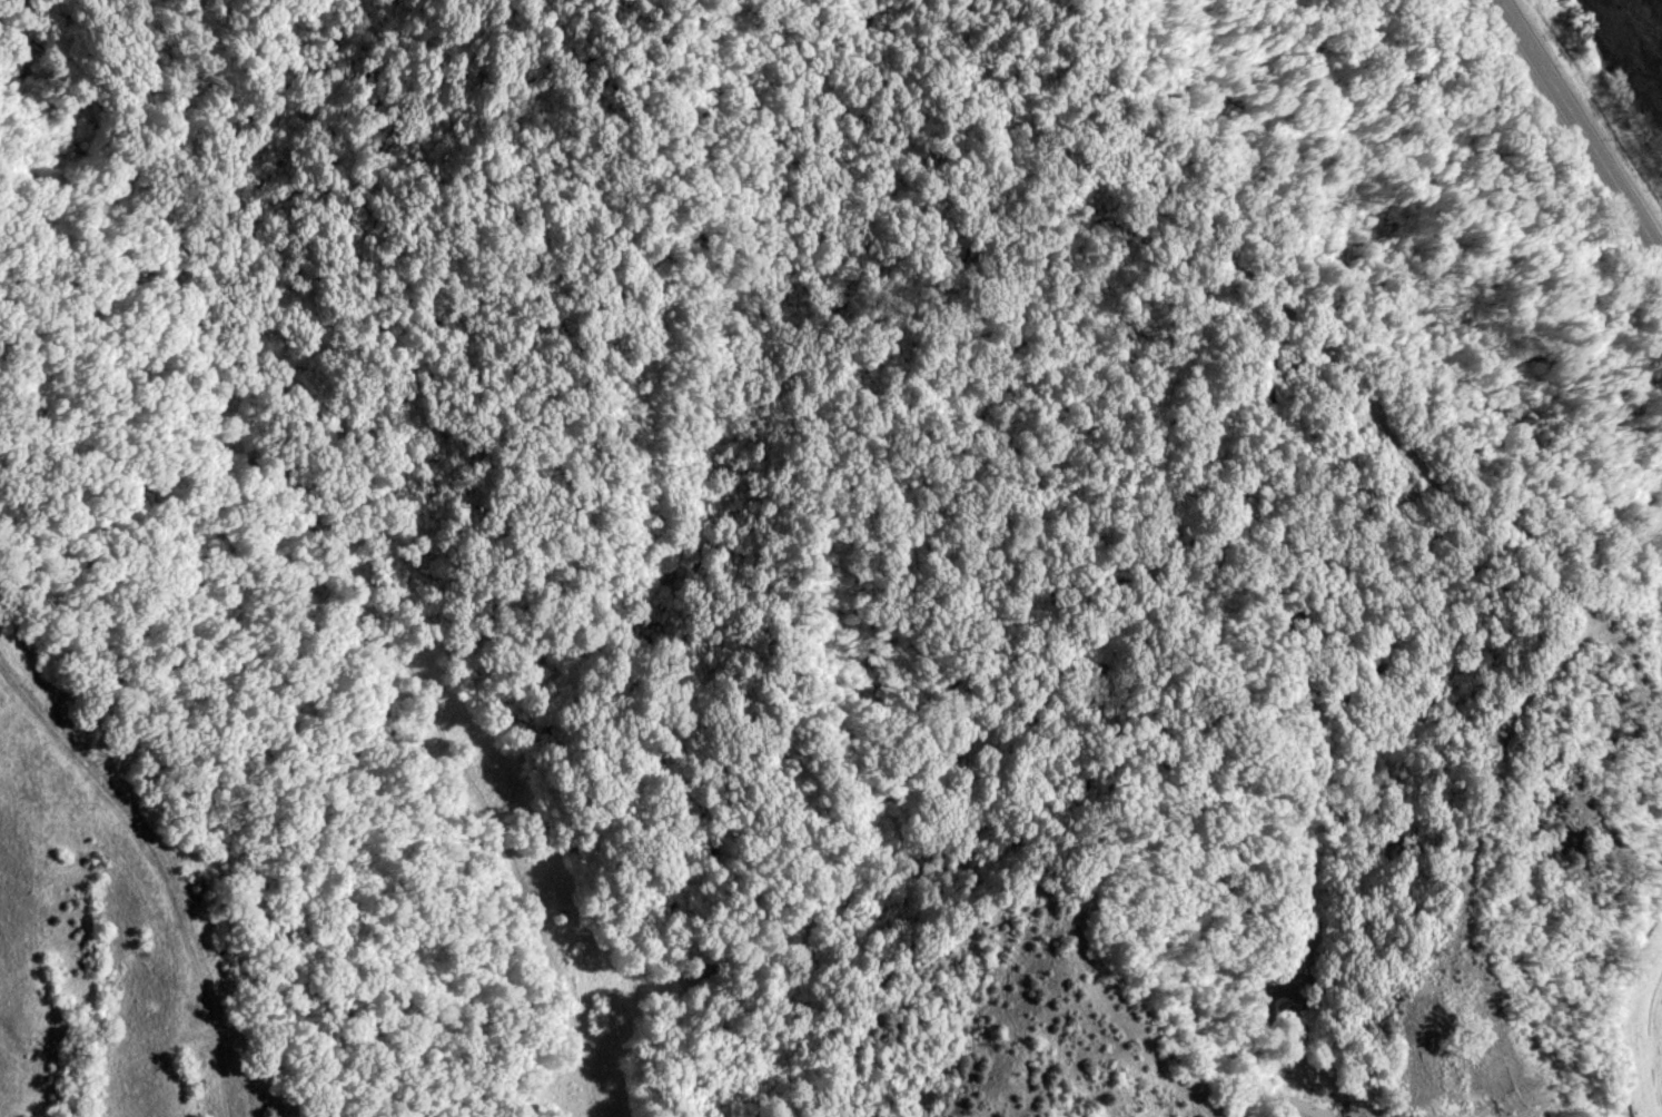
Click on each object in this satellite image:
road: (1582, 125)

